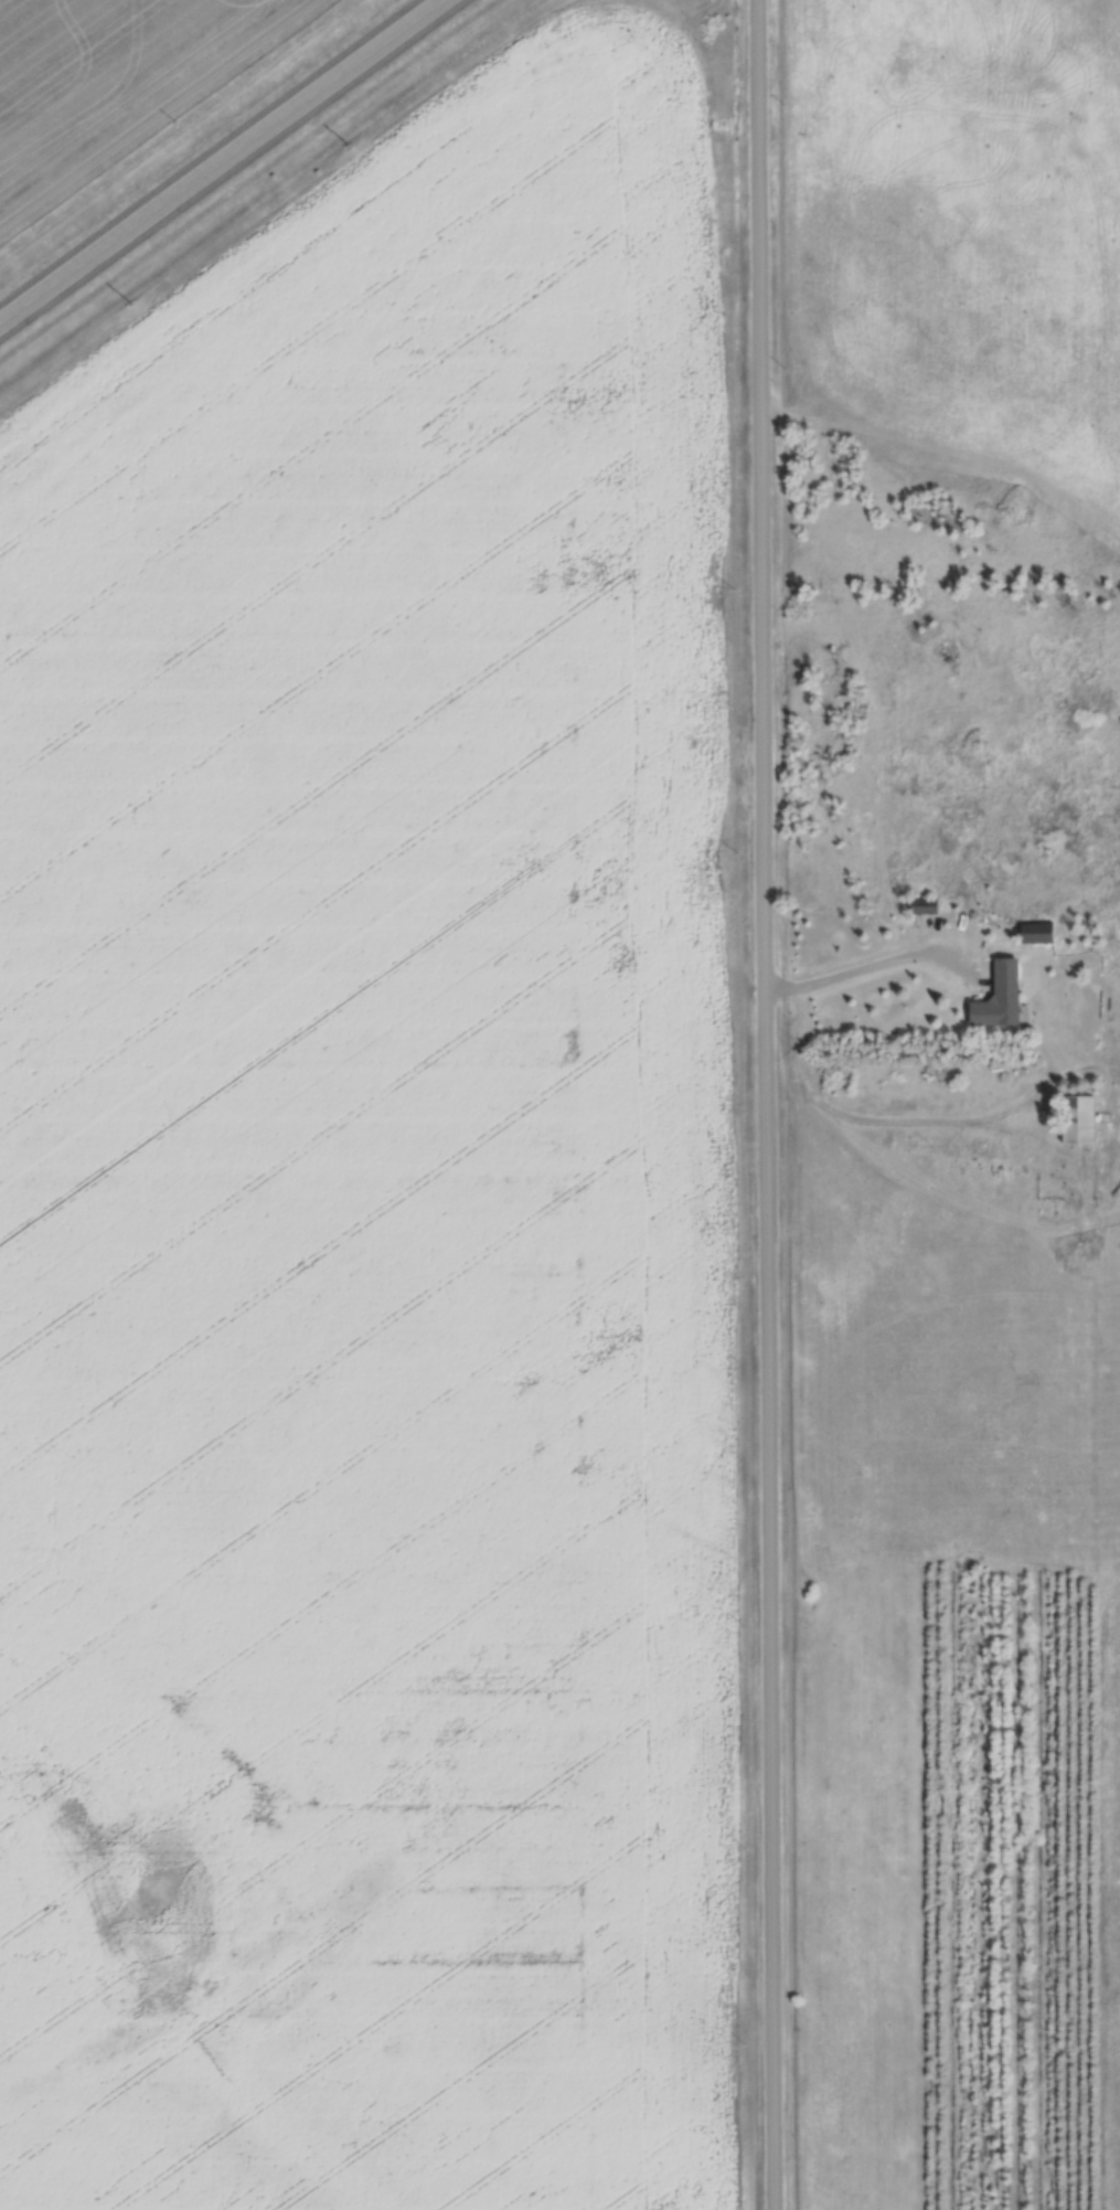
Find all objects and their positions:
road: (223, 163)
building: (922, 906)
building: (1034, 933)
building: (996, 997)
road: (766, 1105)
building: (1078, 1119)

